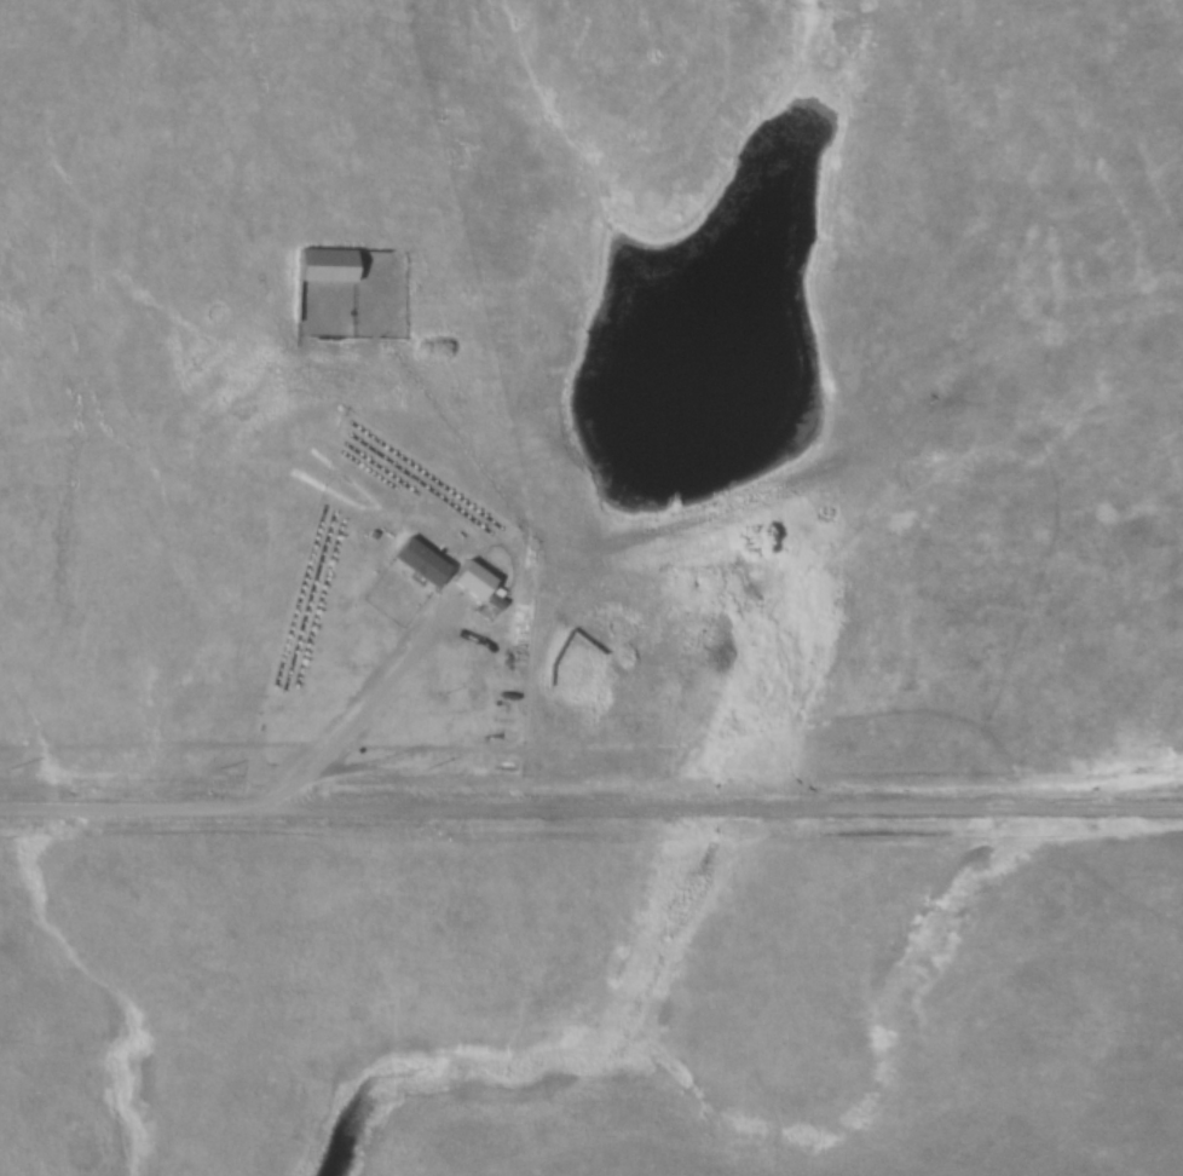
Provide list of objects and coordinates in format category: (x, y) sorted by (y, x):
road: (591, 806)

